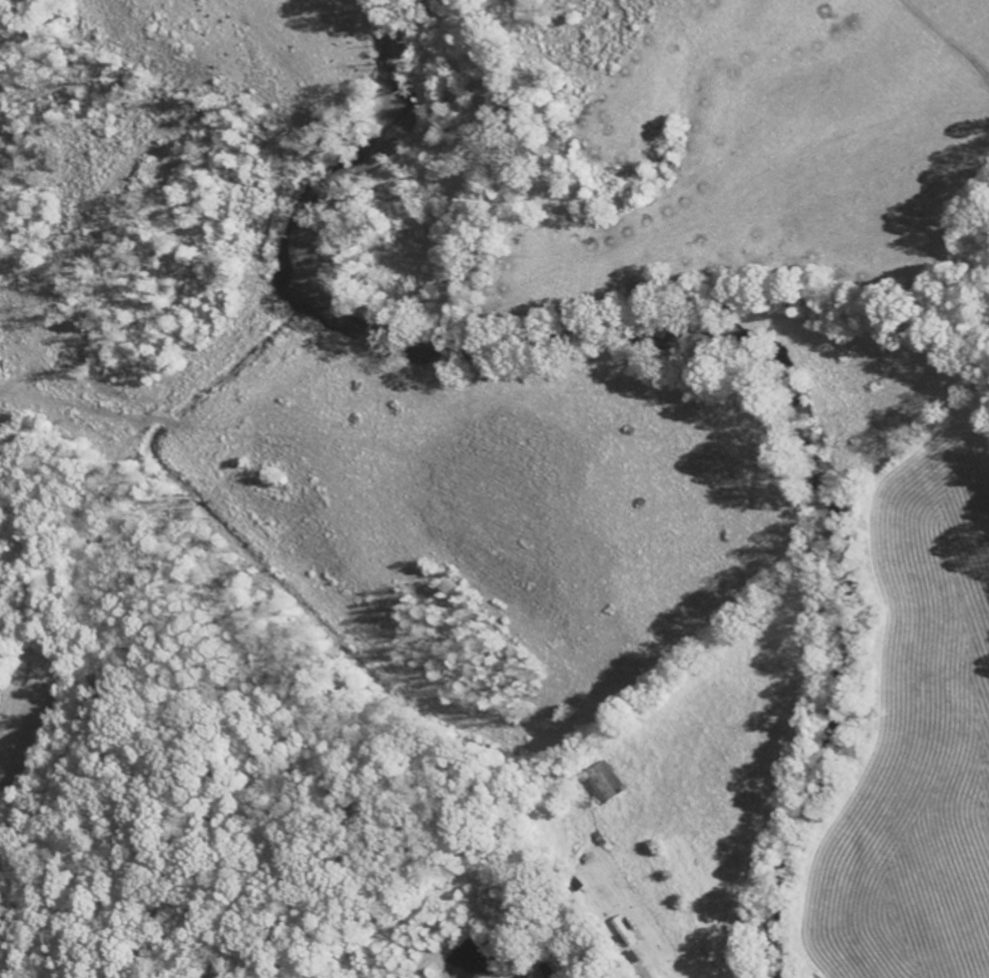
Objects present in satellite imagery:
road: (403, 948)
building: (546, 971)

